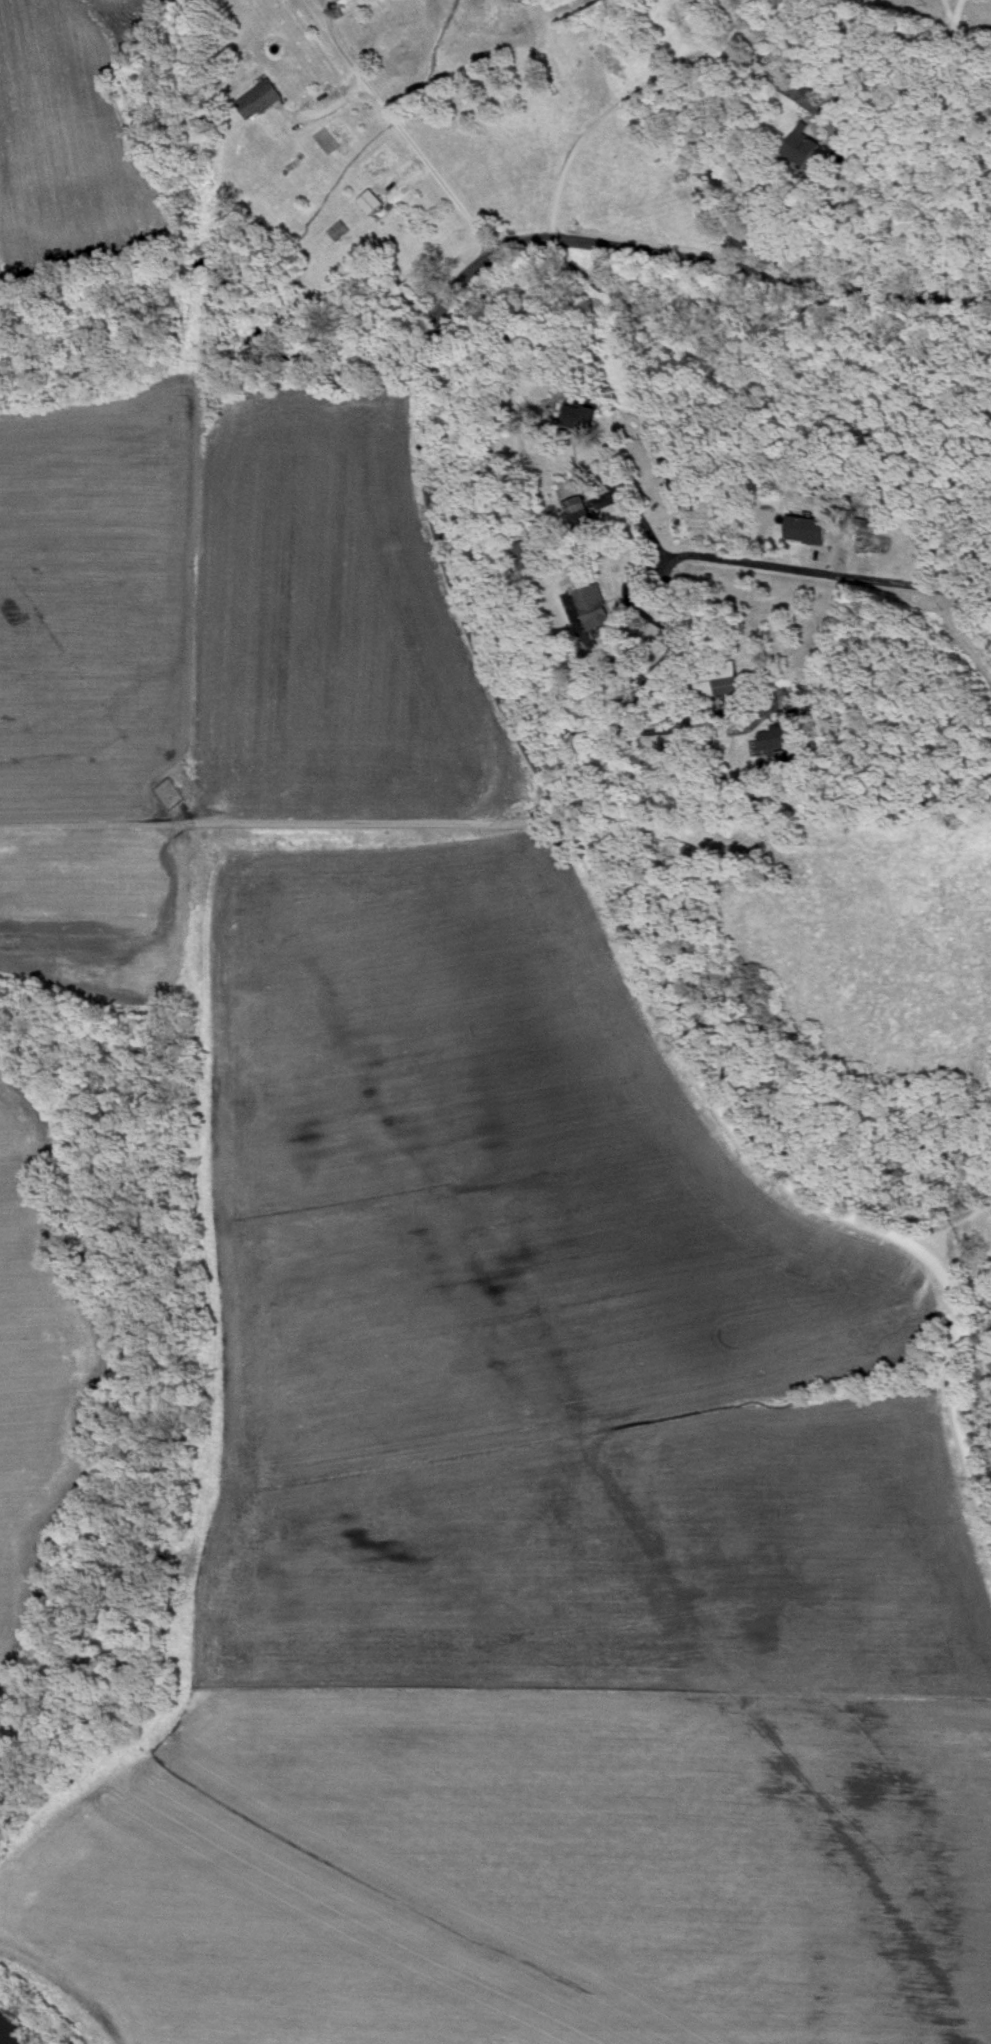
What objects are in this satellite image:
road: (646, 88)
road: (945, 89)
building: (812, 90)
building: (258, 101)
road: (408, 140)
building: (802, 148)
building: (369, 203)
building: (575, 418)
road: (607, 498)
building: (578, 514)
road: (640, 516)
building: (806, 532)
building: (526, 557)
road: (679, 559)
building: (594, 609)
building: (715, 681)
road: (511, 716)
road: (657, 731)
building: (781, 734)
road: (365, 819)
road: (952, 1219)

